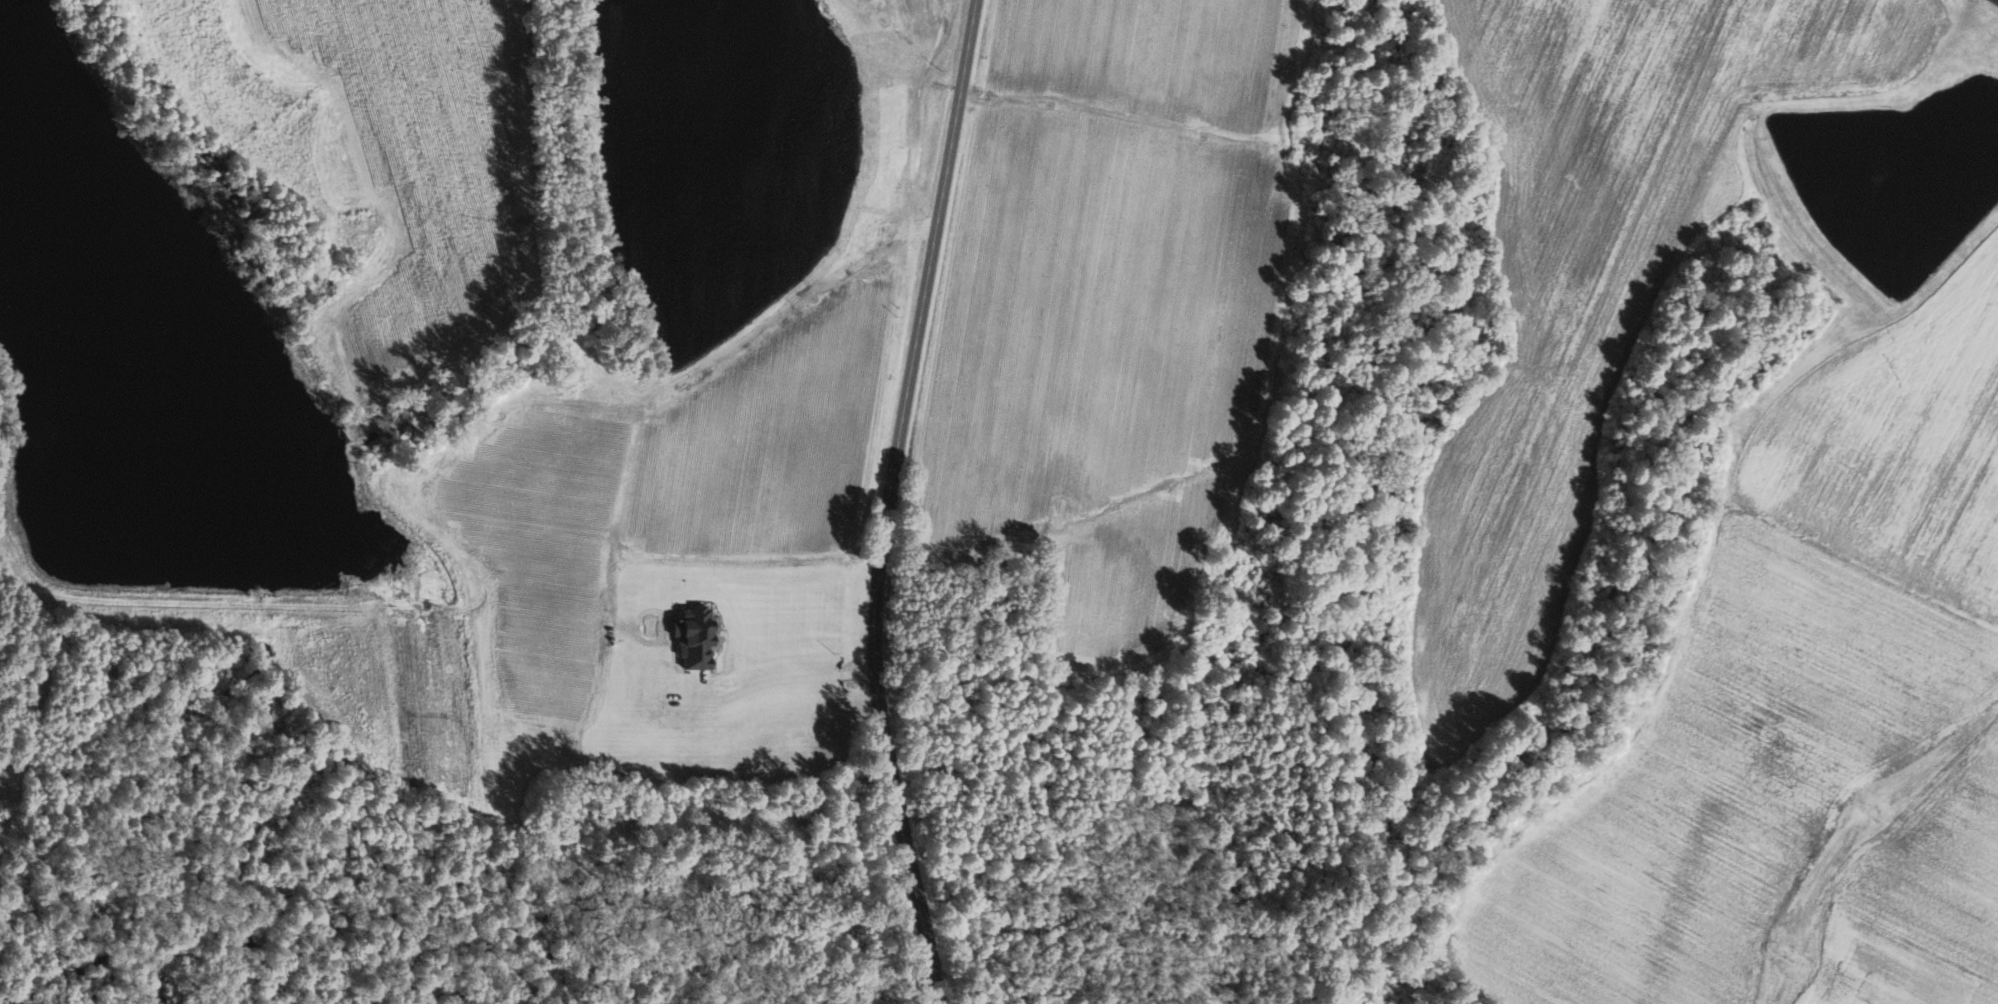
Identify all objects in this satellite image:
road: (887, 502)
building: (695, 637)
road: (782, 677)
river: (182, 979)

